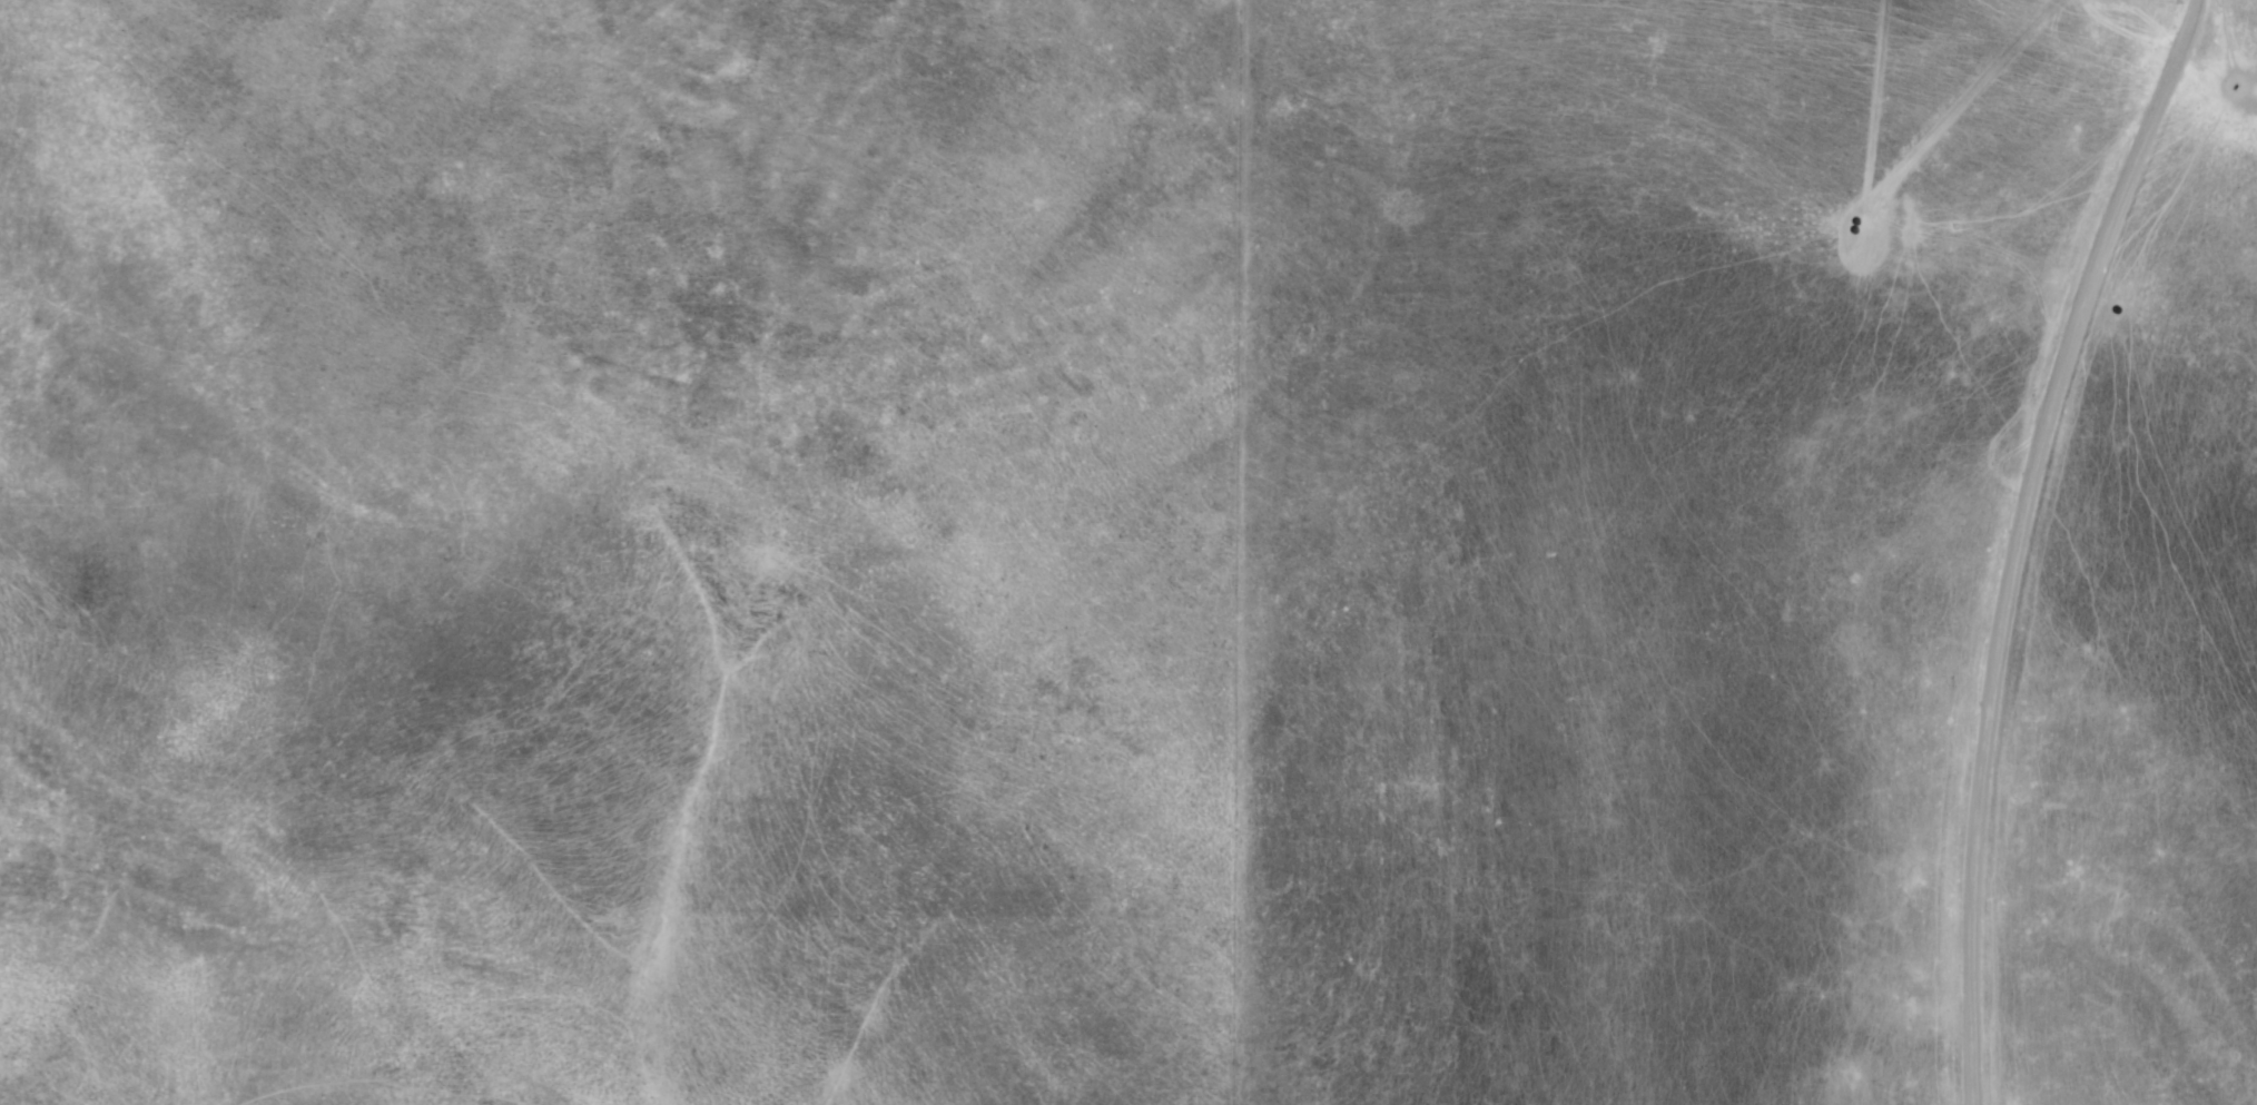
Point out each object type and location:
road: (2034, 531)

